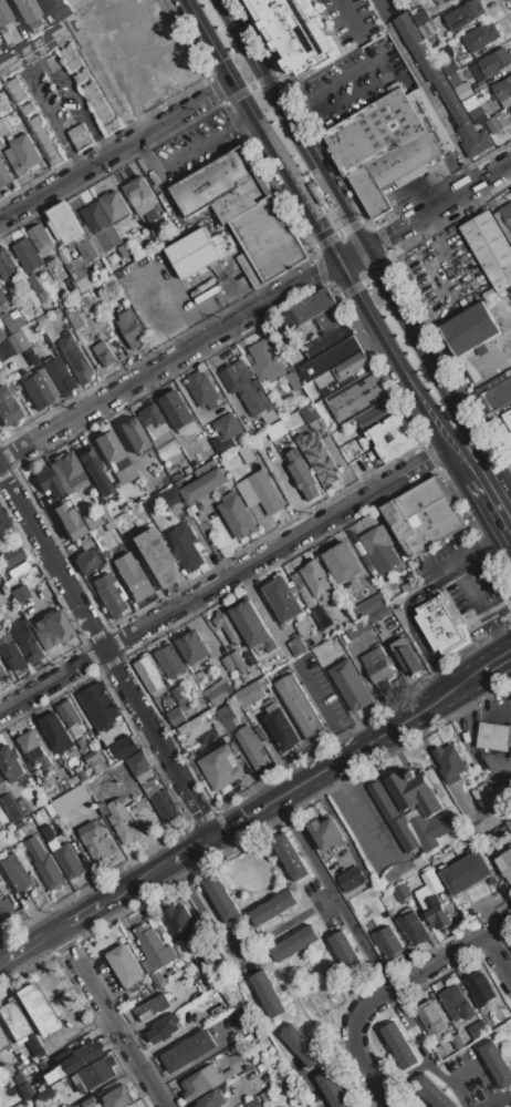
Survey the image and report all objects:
building: (447, 0)
building: (52, 4)
building: (24, 10)
building: (463, 14)
road: (351, 18)
building: (9, 22)
building: (34, 27)
building: (295, 33)
building: (58, 37)
building: (480, 37)
building: (39, 47)
building: (66, 51)
building: (0, 52)
building: (27, 54)
building: (71, 57)
building: (494, 62)
building: (73, 63)
building: (8, 66)
road: (384, 68)
building: (82, 76)
parking lot: (355, 83)
building: (13, 84)
building: (0, 85)
road: (251, 85)
building: (441, 85)
building: (502, 89)
building: (90, 90)
road: (426, 90)
building: (463, 91)
building: (93, 95)
building: (20, 96)
building: (96, 102)
building: (470, 103)
building: (28, 109)
building: (100, 109)
building: (510, 110)
road: (301, 112)
building: (104, 114)
building: (477, 115)
building: (34, 121)
building: (107, 121)
road: (289, 124)
building: (492, 125)
building: (111, 127)
building: (4, 130)
road: (262, 131)
building: (42, 133)
building: (81, 136)
building: (44, 141)
building: (386, 144)
building: (49, 146)
parking lot: (195, 147)
road: (115, 150)
road: (186, 152)
building: (52, 153)
building: (22, 154)
building: (55, 160)
building: (4, 173)
building: (221, 186)
building: (140, 196)
road: (451, 196)
building: (114, 206)
building: (507, 214)
road: (332, 222)
building: (101, 226)
building: (71, 230)
road: (337, 233)
building: (40, 238)
building: (93, 239)
building: (268, 239)
road: (377, 239)
building: (221, 243)
traffic signals: (363, 248)
building: (124, 250)
building: (490, 250)
building: (192, 253)
road: (351, 255)
building: (28, 256)
building: (64, 256)
building: (51, 262)
traffic signals: (340, 262)
building: (7, 266)
building: (80, 274)
building: (1, 278)
building: (2, 297)
building: (42, 297)
building: (106, 310)
building: (56, 311)
building: (74, 319)
building: (322, 322)
building: (11, 324)
building: (28, 328)
building: (131, 328)
building: (49, 329)
building: (470, 329)
building: (1, 337)
building: (15, 341)
road: (415, 341)
building: (4, 350)
building: (49, 352)
building: (104, 353)
road: (392, 355)
building: (75, 358)
building: (264, 359)
building: (33, 360)
road: (168, 360)
building: (332, 360)
building: (0, 366)
road: (477, 367)
building: (354, 368)
building: (59, 375)
building: (293, 381)
building: (6, 383)
building: (36, 388)
building: (244, 388)
building: (202, 390)
building: (358, 400)
building: (497, 407)
building: (7, 409)
building: (177, 409)
building: (309, 414)
building: (377, 418)
building: (153, 422)
building: (228, 426)
building: (392, 430)
building: (275, 431)
building: (133, 435)
building: (221, 444)
building: (400, 448)
building: (247, 454)
building: (114, 457)
building: (319, 459)
road: (457, 464)
road: (490, 467)
building: (94, 472)
building: (67, 474)
building: (302, 474)
road: (505, 479)
building: (46, 482)
building: (205, 485)
building: (247, 493)
building: (265, 493)
building: (169, 499)
building: (238, 516)
road: (490, 516)
building: (95, 519)
building: (423, 520)
building: (66, 522)
building: (2, 524)
building: (185, 546)
road: (477, 547)
building: (378, 553)
building: (11, 556)
building: (155, 557)
building: (87, 560)
building: (343, 562)
building: (18, 571)
road: (444, 572)
building: (317, 580)
building: (133, 581)
road: (222, 581)
building: (22, 590)
building: (302, 590)
building: (108, 595)
building: (283, 599)
road: (260, 606)
building: (367, 606)
road: (480, 607)
road: (487, 611)
building: (376, 613)
building: (304, 625)
building: (253, 626)
building: (440, 626)
road: (465, 627)
building: (228, 628)
building: (355, 628)
building: (54, 631)
road: (419, 633)
building: (223, 640)
building: (28, 643)
building: (192, 647)
road: (107, 654)
building: (13, 655)
building: (405, 657)
building: (170, 660)
building: (238, 660)
road: (496, 660)
building: (228, 663)
building: (377, 668)
building: (2, 672)
building: (149, 673)
building: (0, 681)
building: (350, 686)
building: (179, 693)
building: (219, 694)
building: (250, 694)
building: (98, 705)
building: (301, 708)
building: (71, 716)
building: (176, 717)
road: (474, 718)
building: (223, 719)
building: (281, 728)
building: (192, 729)
building: (56, 732)
building: (493, 736)
building: (29, 741)
building: (125, 747)
building: (253, 747)
road: (353, 752)
building: (510, 757)
building: (45, 762)
building: (96, 763)
building: (449, 763)
building: (12, 765)
building: (140, 766)
building: (220, 768)
building: (0, 779)
building: (152, 788)
building: (482, 797)
building: (70, 799)
building: (165, 807)
building: (11, 808)
building: (414, 811)
road: (357, 814)
building: (123, 822)
building: (327, 833)
building: (98, 844)
building: (69, 858)
building: (290, 858)
building: (504, 863)
building: (46, 864)
building: (14, 871)
building: (466, 873)
building: (352, 879)
building: (401, 892)
building: (222, 899)
road: (112, 900)
road: (328, 900)
building: (273, 906)
building: (377, 906)
building: (4, 910)
building: (434, 910)
building: (178, 922)
building: (415, 929)
building: (294, 943)
road: (362, 943)
building: (387, 943)
building: (345, 952)
building: (154, 953)
road: (499, 955)
building: (126, 968)
building: (480, 988)
road: (389, 991)
building: (268, 994)
building: (457, 1003)
building: (154, 1006)
building: (34, 1009)
road: (113, 1018)
building: (432, 1018)
building: (12, 1021)
building: (165, 1028)
building: (478, 1029)
road: (76, 1031)
building: (457, 1041)
building: (2, 1043)
building: (400, 1045)
building: (302, 1046)
building: (189, 1050)
building: (440, 1052)
road: (207, 1053)
road: (423, 1055)
road: (330, 1060)
building: (72, 1062)
building: (497, 1065)
building: (4, 1073)
building: (92, 1075)
building: (206, 1080)
road: (304, 1083)
building: (21, 1087)
building: (333, 1089)
building: (434, 1093)
building: (43, 1095)
building: (116, 1097)
building: (211, 1099)
road: (369, 1099)
road: (497, 1100)
building: (251, 1103)
building: (84, 1104)

